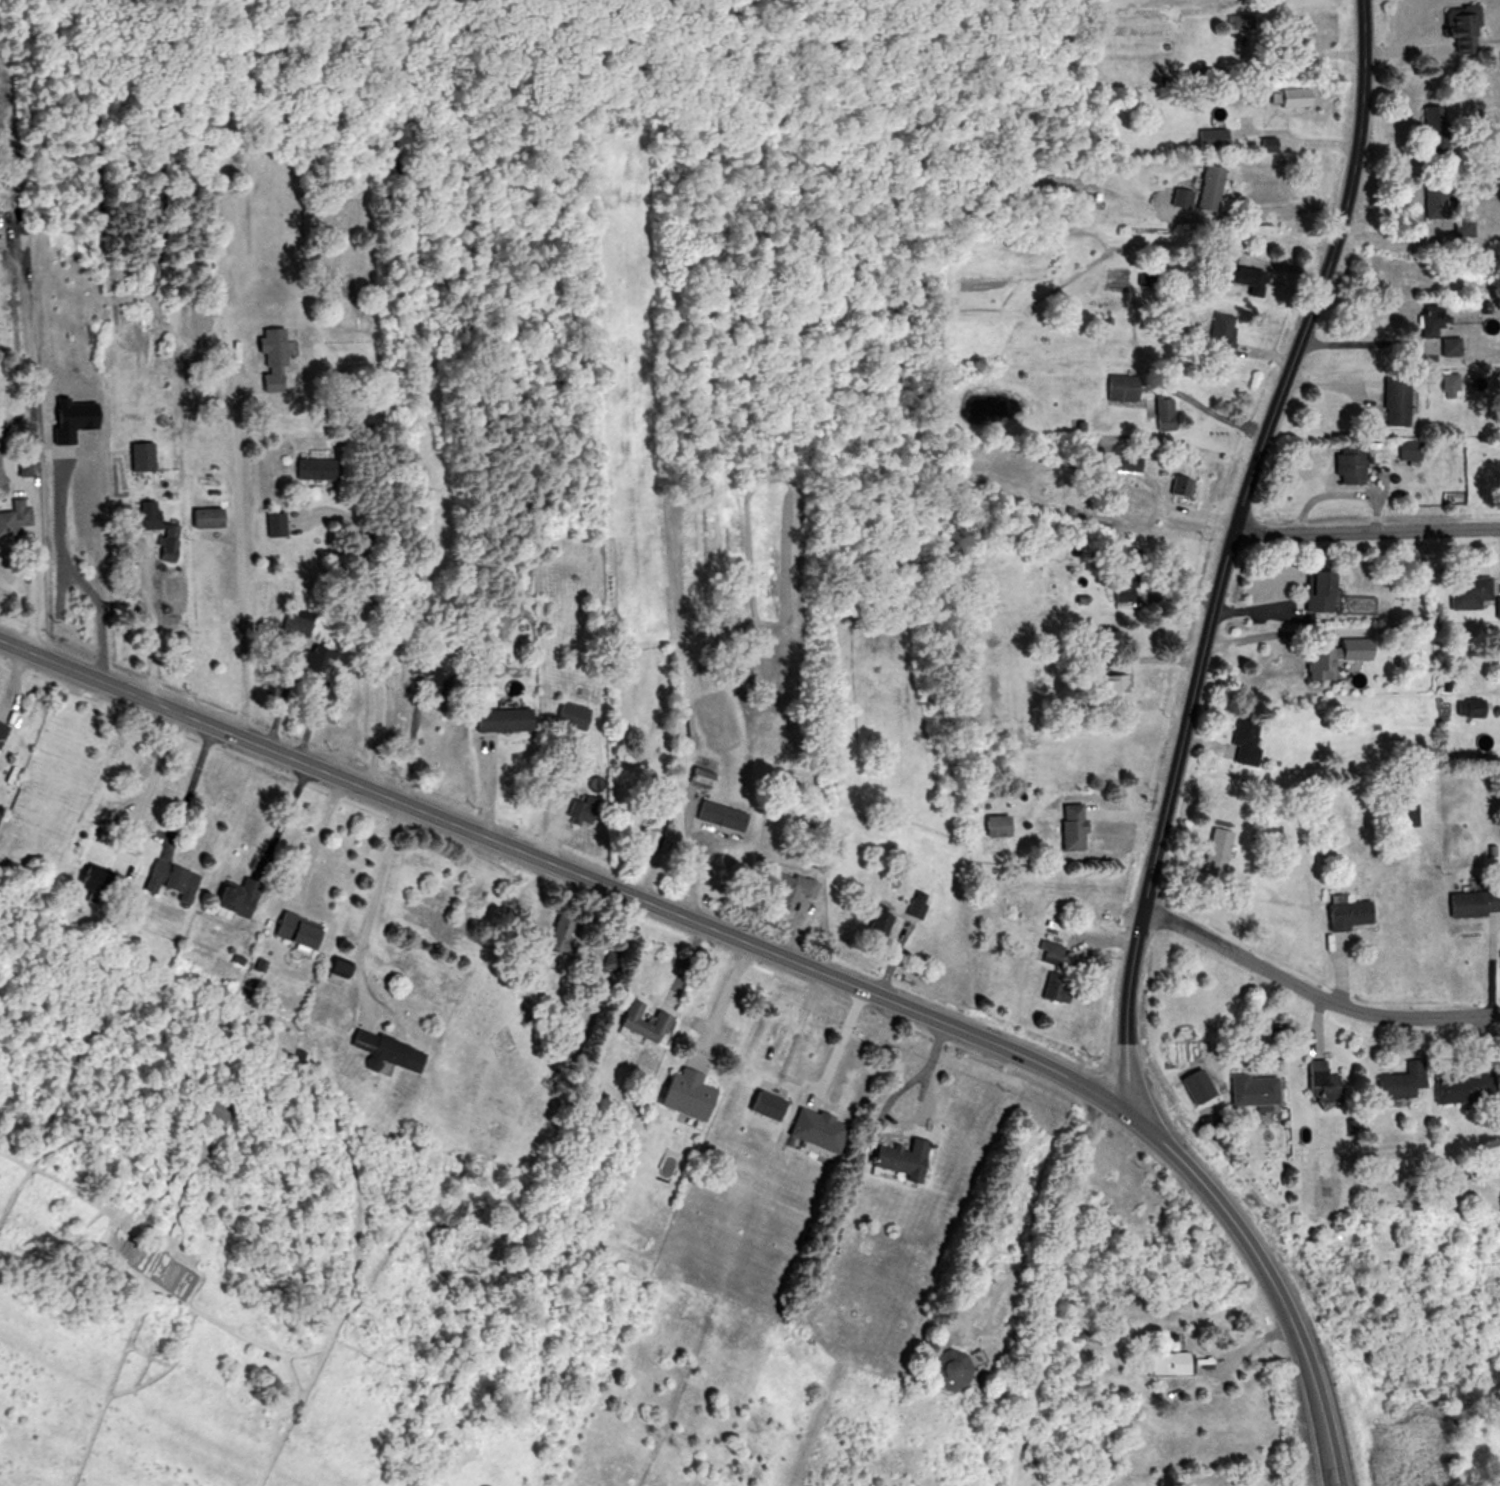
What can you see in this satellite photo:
building: (1295, 29)
building: (1242, 36)
building: (1450, 36)
road: (1300, 52)
building: (1288, 96)
building: (1429, 125)
building: (1209, 136)
road: (1292, 140)
building: (1204, 186)
building: (1177, 197)
road: (1278, 208)
building: (1459, 227)
building: (1231, 269)
building: (1426, 319)
building: (1216, 333)
road: (1359, 341)
building: (1445, 346)
building: (279, 360)
building: (1116, 387)
building: (1393, 401)
road: (1208, 410)
building: (1160, 413)
building: (1405, 451)
building: (146, 456)
building: (1128, 461)
building: (1343, 463)
building: (321, 469)
building: (1177, 485)
building: (17, 518)
building: (212, 518)
building: (280, 525)
building: (162, 528)
road: (1365, 530)
road: (237, 561)
building: (1119, 574)
road: (31, 586)
building: (1312, 590)
building: (1466, 591)
building: (1495, 605)
building: (300, 621)
building: (326, 657)
building: (1314, 662)
building: (448, 677)
building: (1109, 686)
building: (1472, 707)
building: (569, 718)
building: (511, 720)
building: (4, 731)
building: (1240, 741)
road: (1173, 756)
building: (709, 773)
road: (147, 786)
building: (586, 810)
building: (1402, 814)
building: (726, 815)
building: (1067, 826)
road: (315, 840)
building: (1214, 851)
building: (99, 877)
building: (175, 879)
building: (800, 885)
road: (616, 891)
building: (242, 897)
building: (1466, 903)
road: (367, 907)
building: (1344, 912)
building: (304, 929)
building: (566, 933)
building: (1053, 952)
building: (1082, 962)
building: (1070, 993)
road: (1311, 994)
road: (722, 996)
building: (649, 1019)
building: (394, 1050)
road: (797, 1080)
building: (1317, 1082)
building: (1395, 1082)
building: (1460, 1089)
building: (1248, 1091)
building: (696, 1094)
building: (826, 1129)
building: (911, 1159)
road: (1067, 1231)
building: (1161, 1361)

